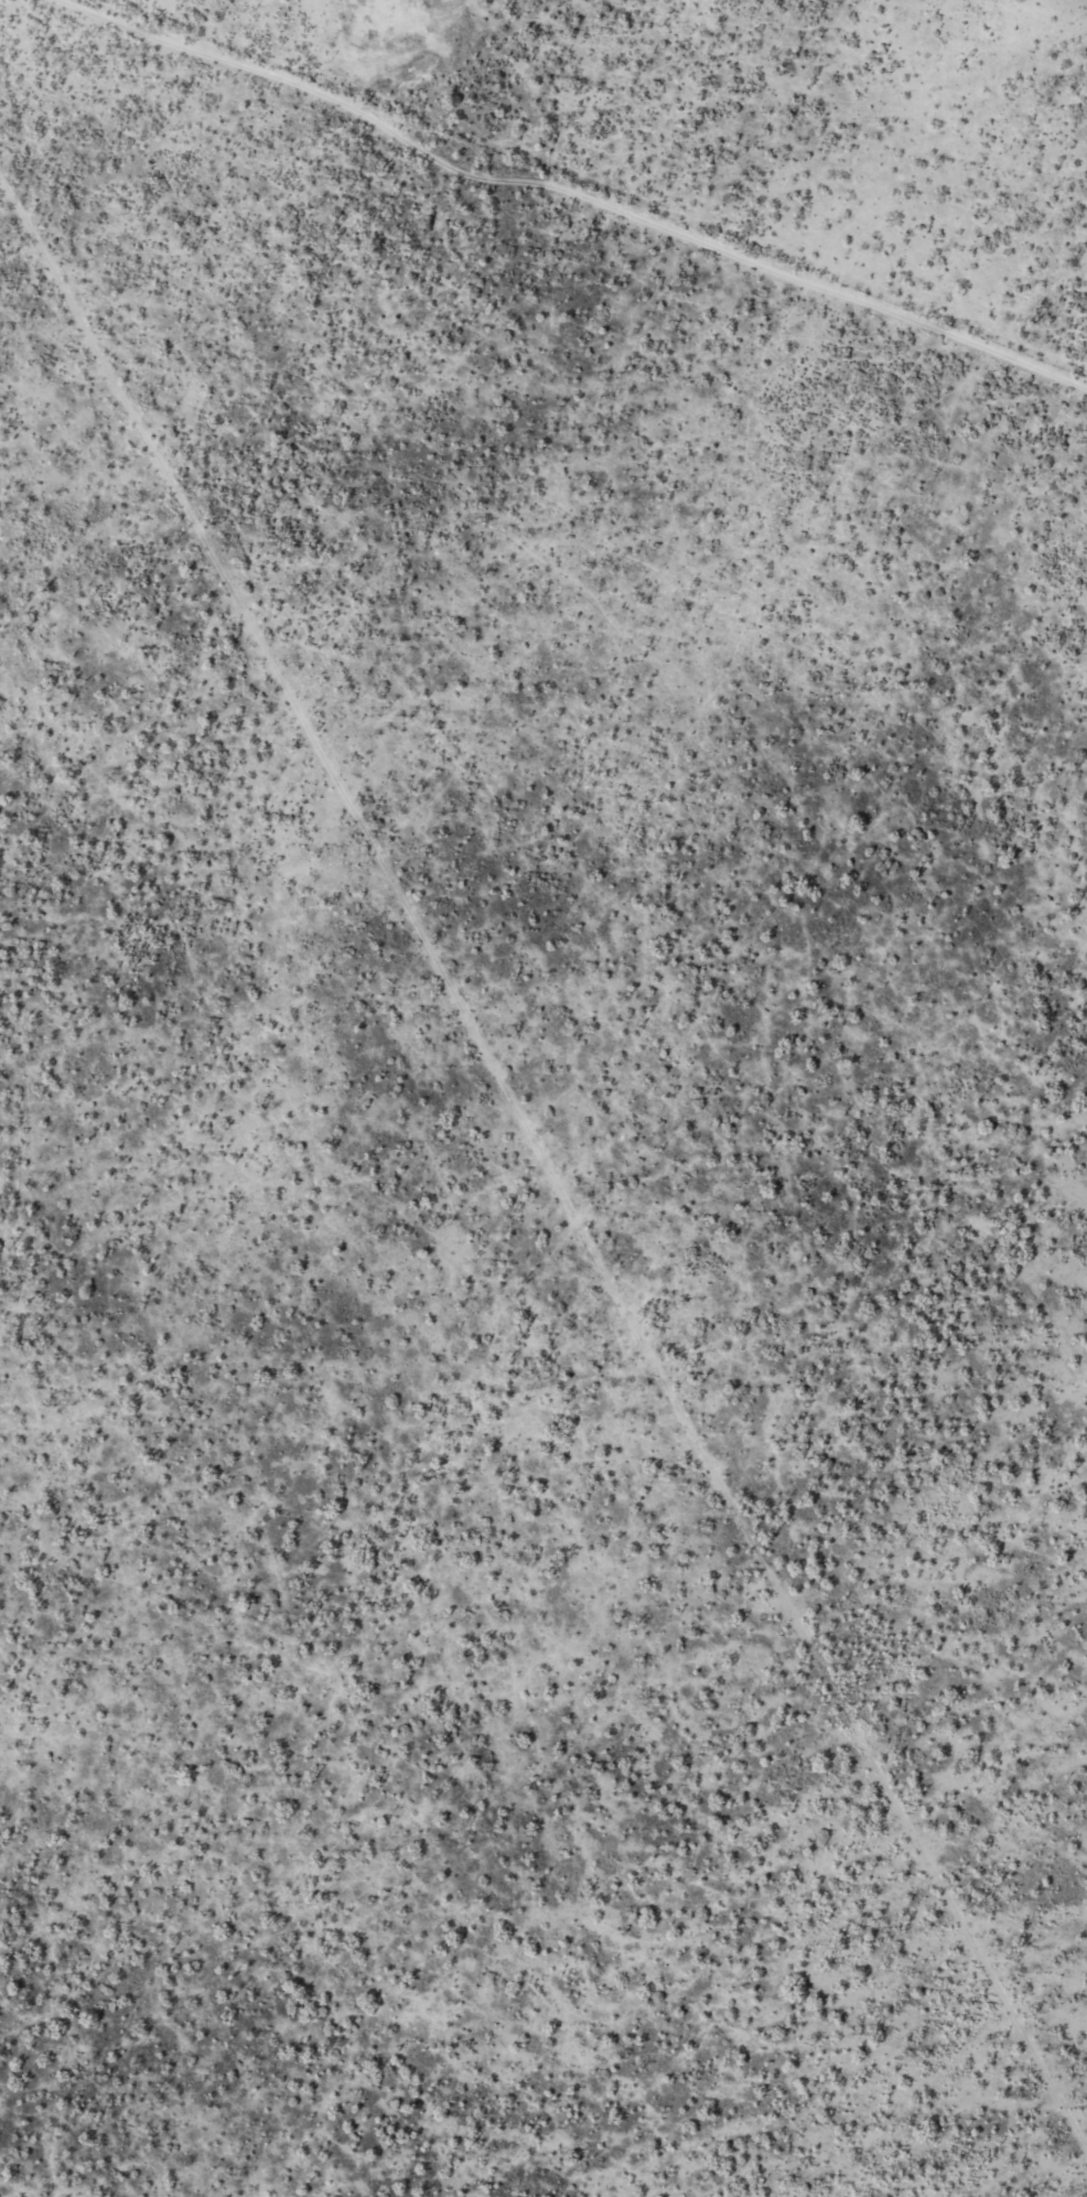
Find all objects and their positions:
road: (543, 202)

